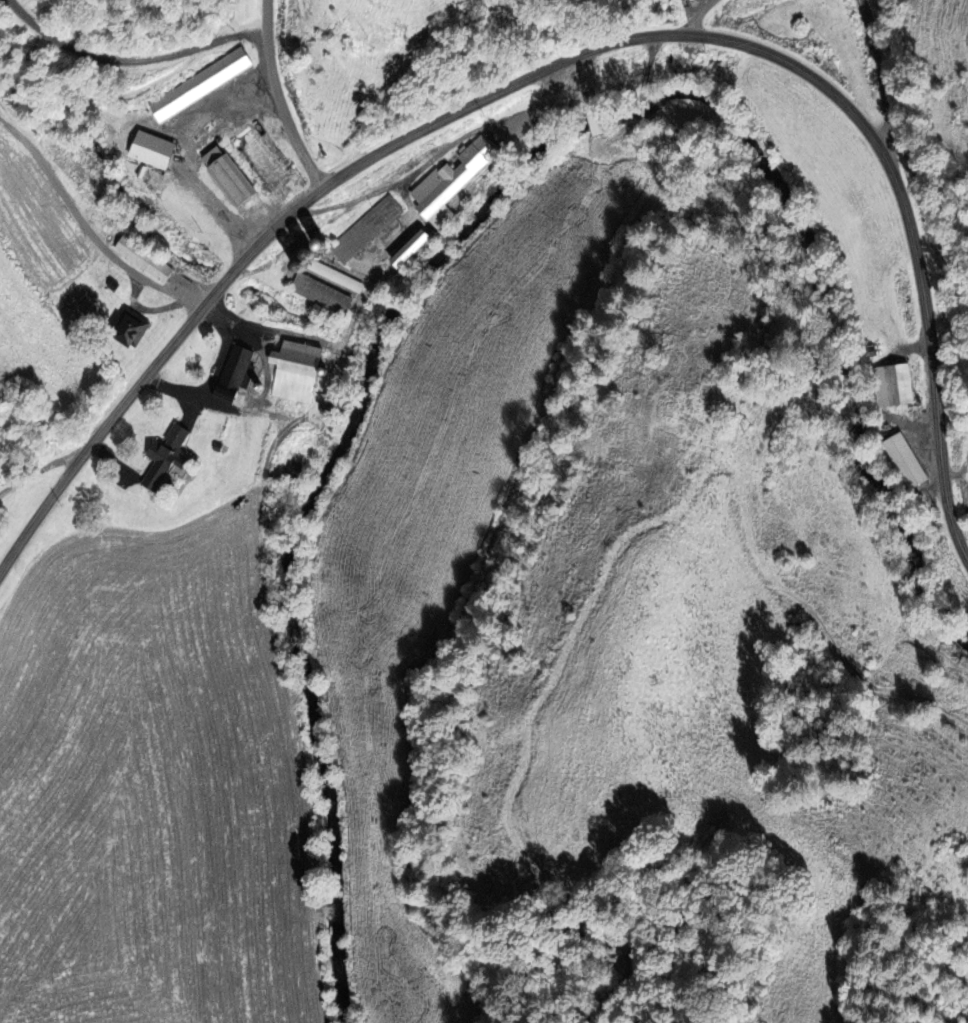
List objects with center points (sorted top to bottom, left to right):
road: (695, 15)
road: (135, 59)
road: (570, 59)
road: (879, 79)
building: (202, 84)
road: (280, 97)
building: (155, 150)
building: (231, 178)
building: (452, 183)
road: (87, 228)
building: (368, 229)
building: (414, 249)
building: (145, 260)
building: (321, 294)
building: (128, 328)
building: (237, 368)
building: (298, 373)
building: (891, 384)
building: (168, 458)
building: (901, 460)

